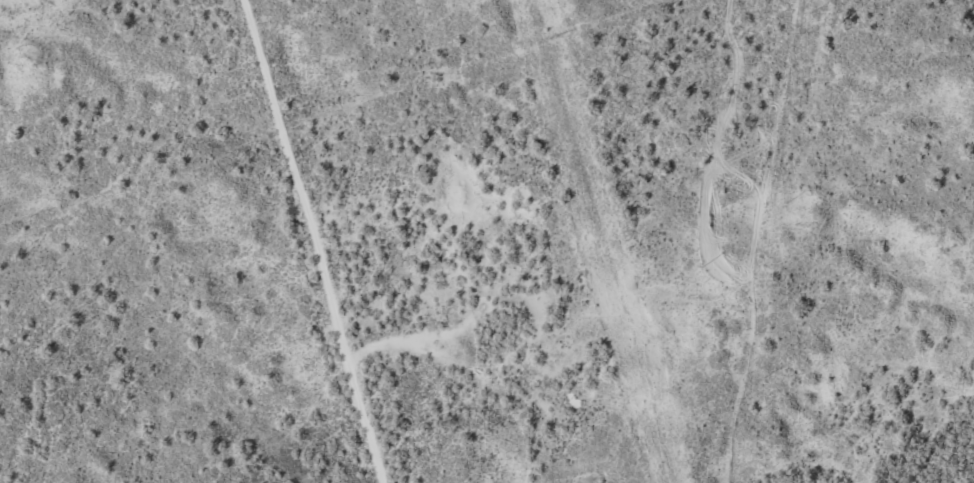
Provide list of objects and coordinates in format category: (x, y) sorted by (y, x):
road: (306, 238)
road: (477, 385)

